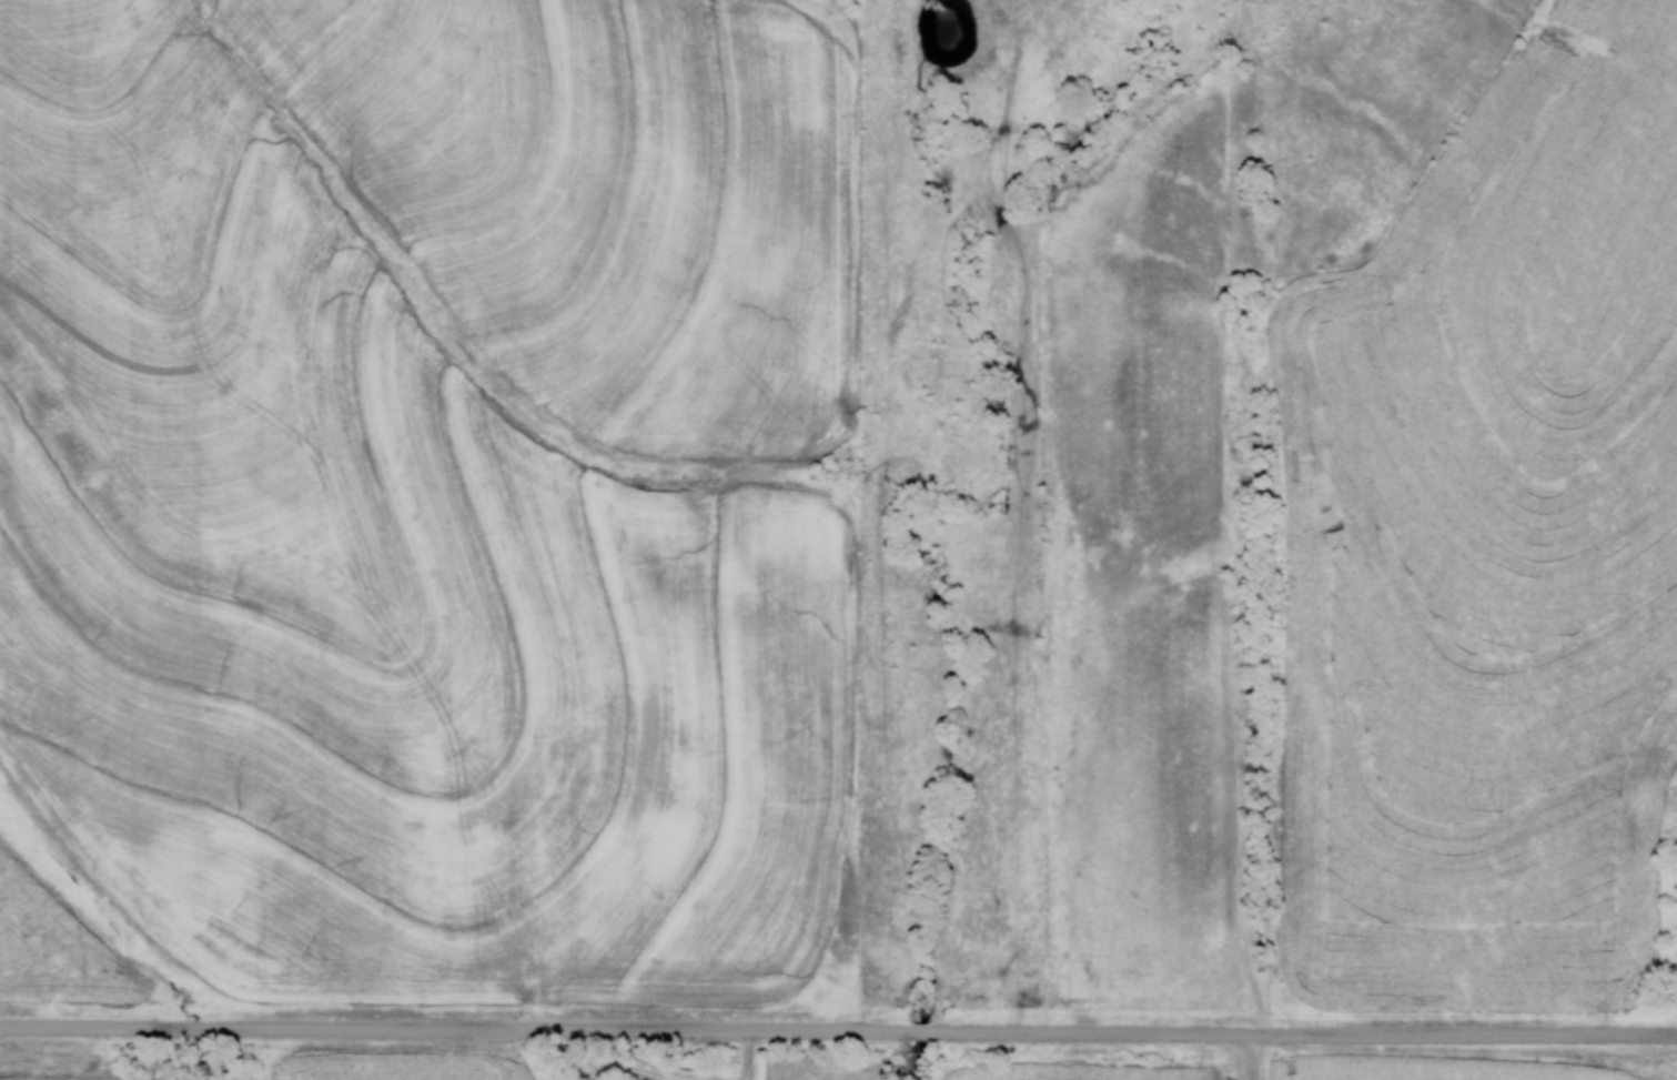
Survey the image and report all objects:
road: (838, 1031)
road: (751, 1054)
road: (1253, 1057)

